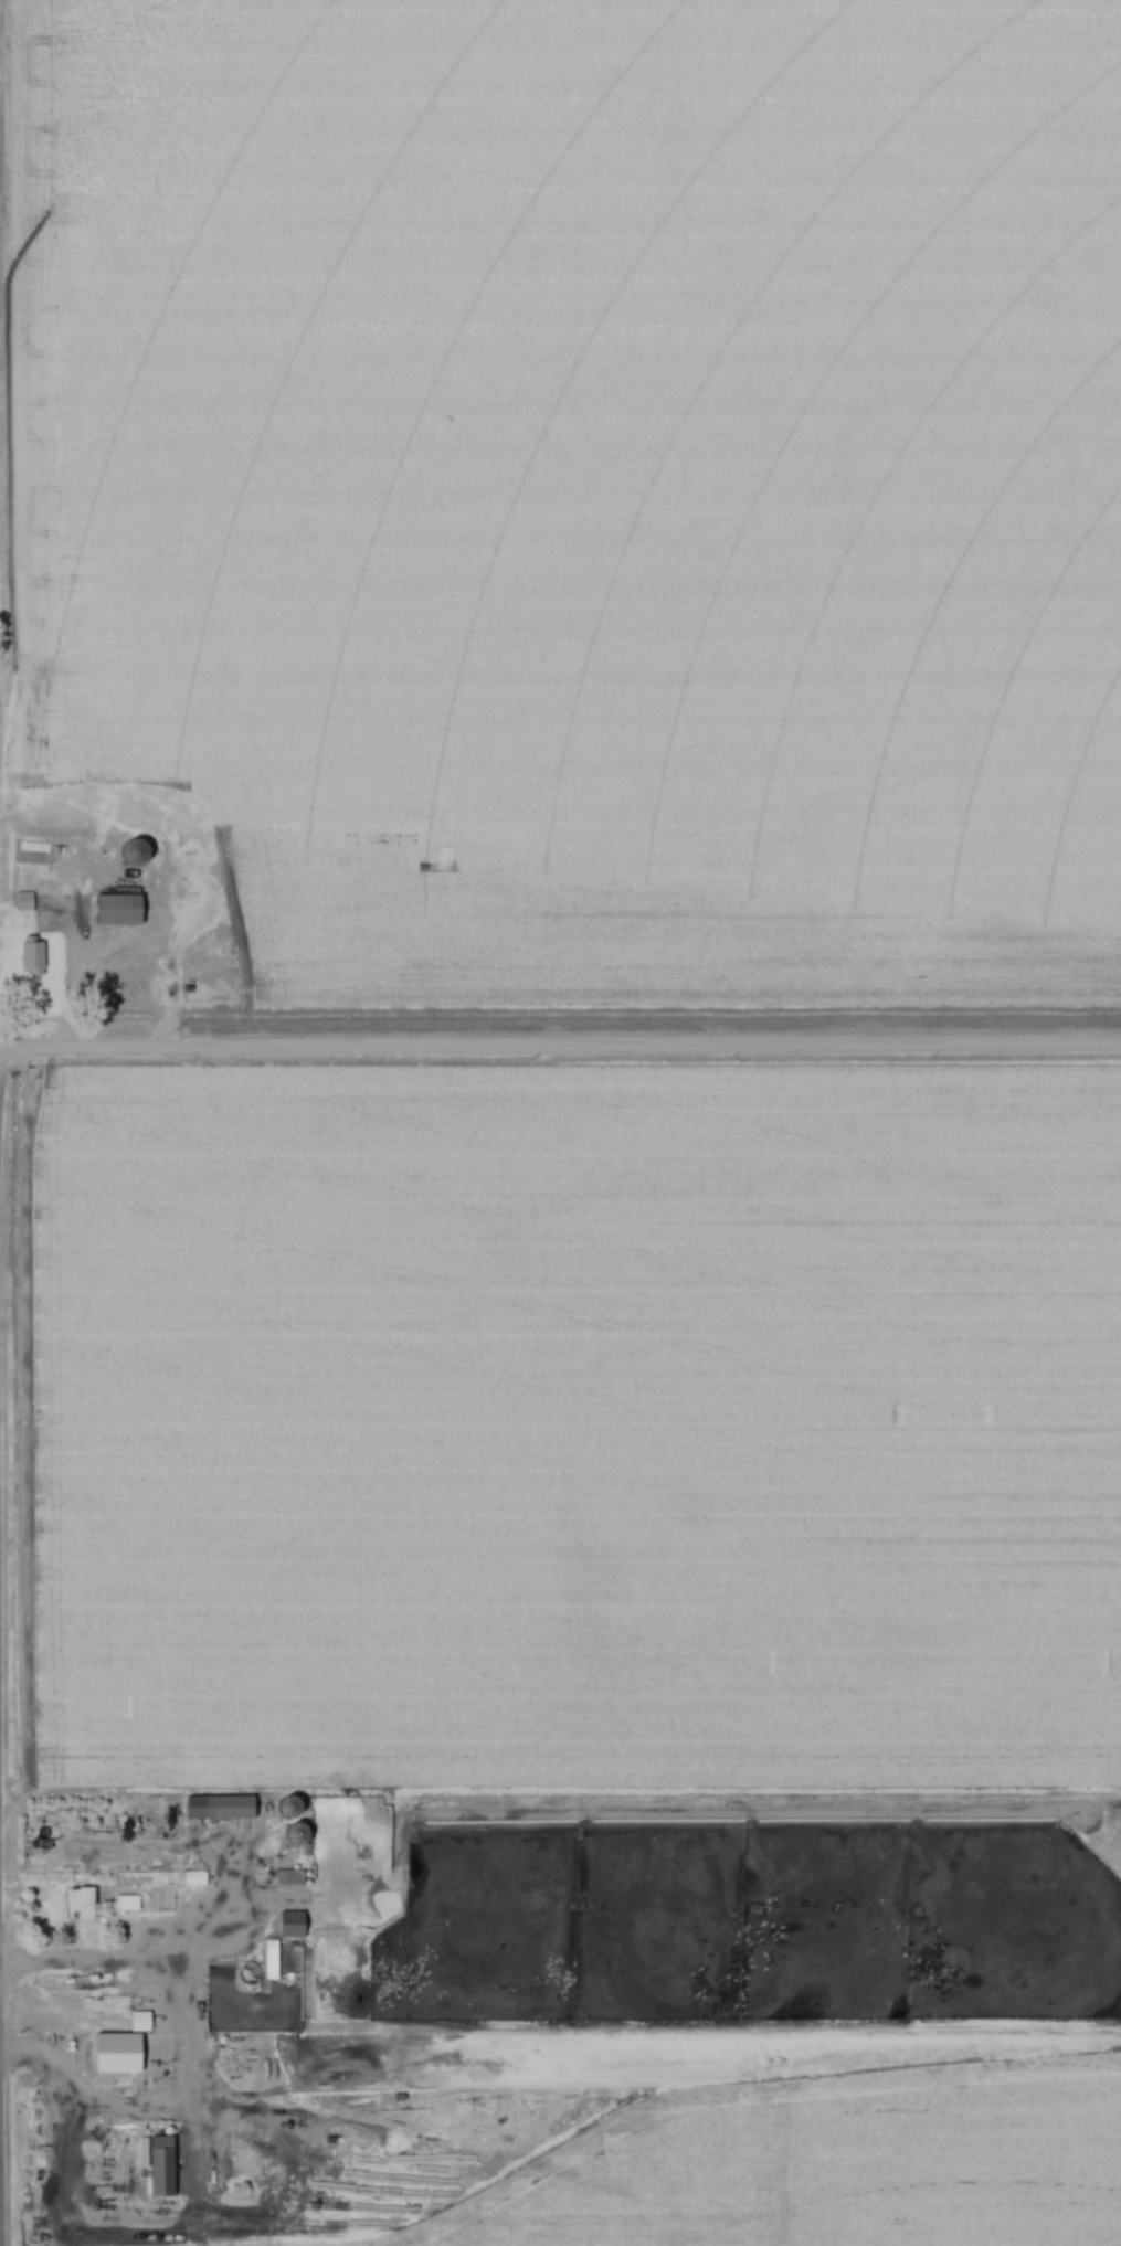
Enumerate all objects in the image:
building: (140, 854)
building: (124, 911)
building: (36, 960)
road: (560, 1046)
road: (3, 1062)
building: (294, 1807)
building: (224, 1808)
building: (101, 1907)
building: (296, 1927)
road: (70, 1957)
building: (274, 1961)
building: (121, 2056)
building: (166, 2166)

